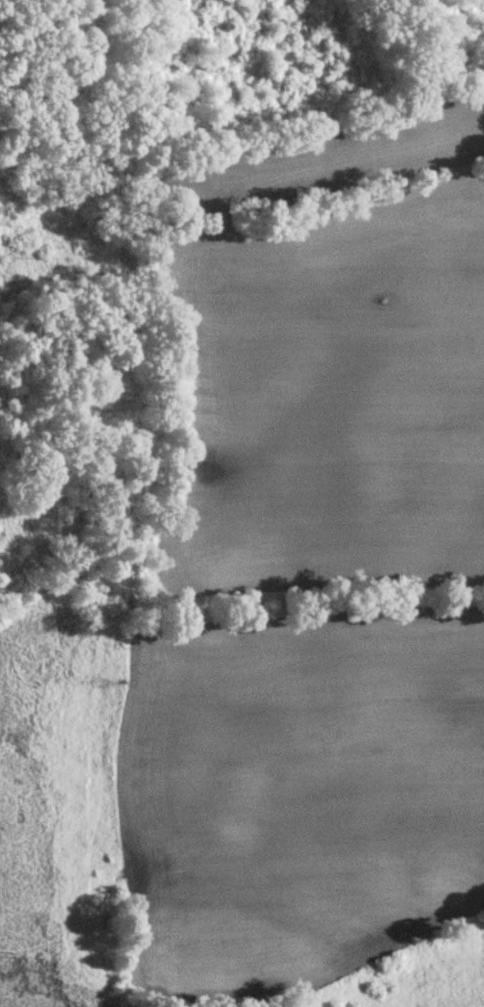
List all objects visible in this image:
crop: (327, 396)
crop: (299, 791)

